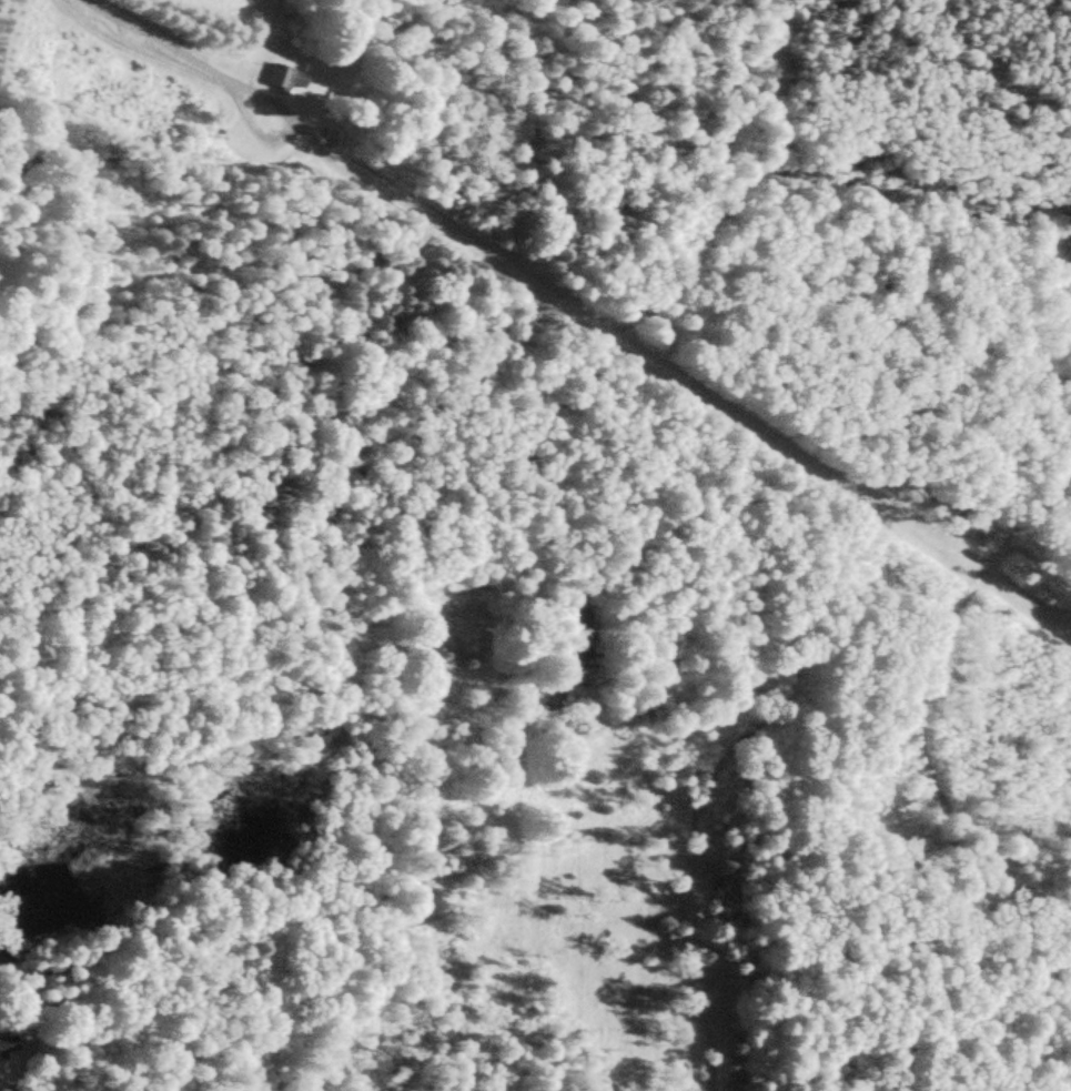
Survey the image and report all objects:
road: (185, 58)
building: (286, 79)
building: (6, 1045)

